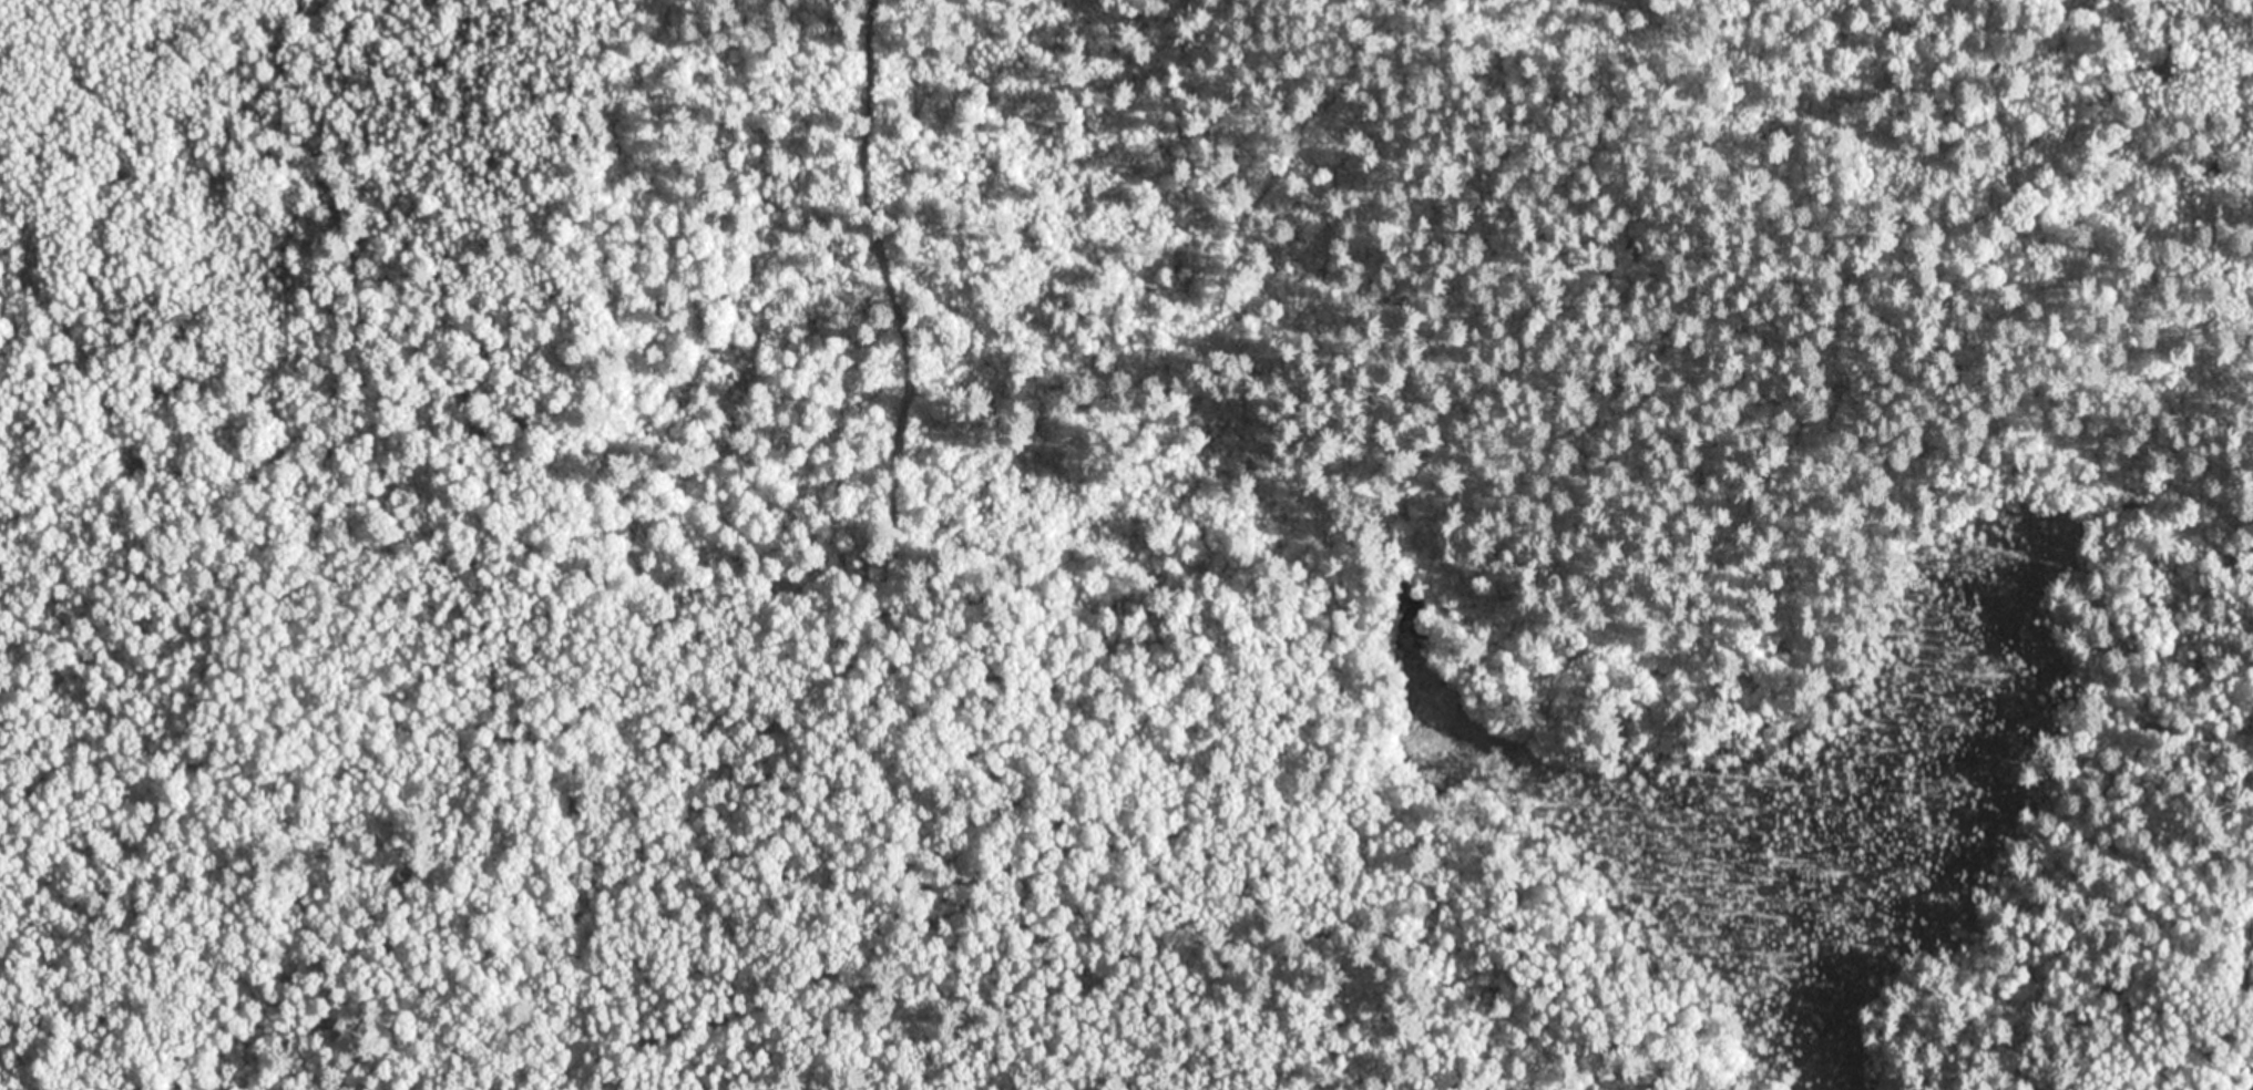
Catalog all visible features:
road: (2226, 988)

